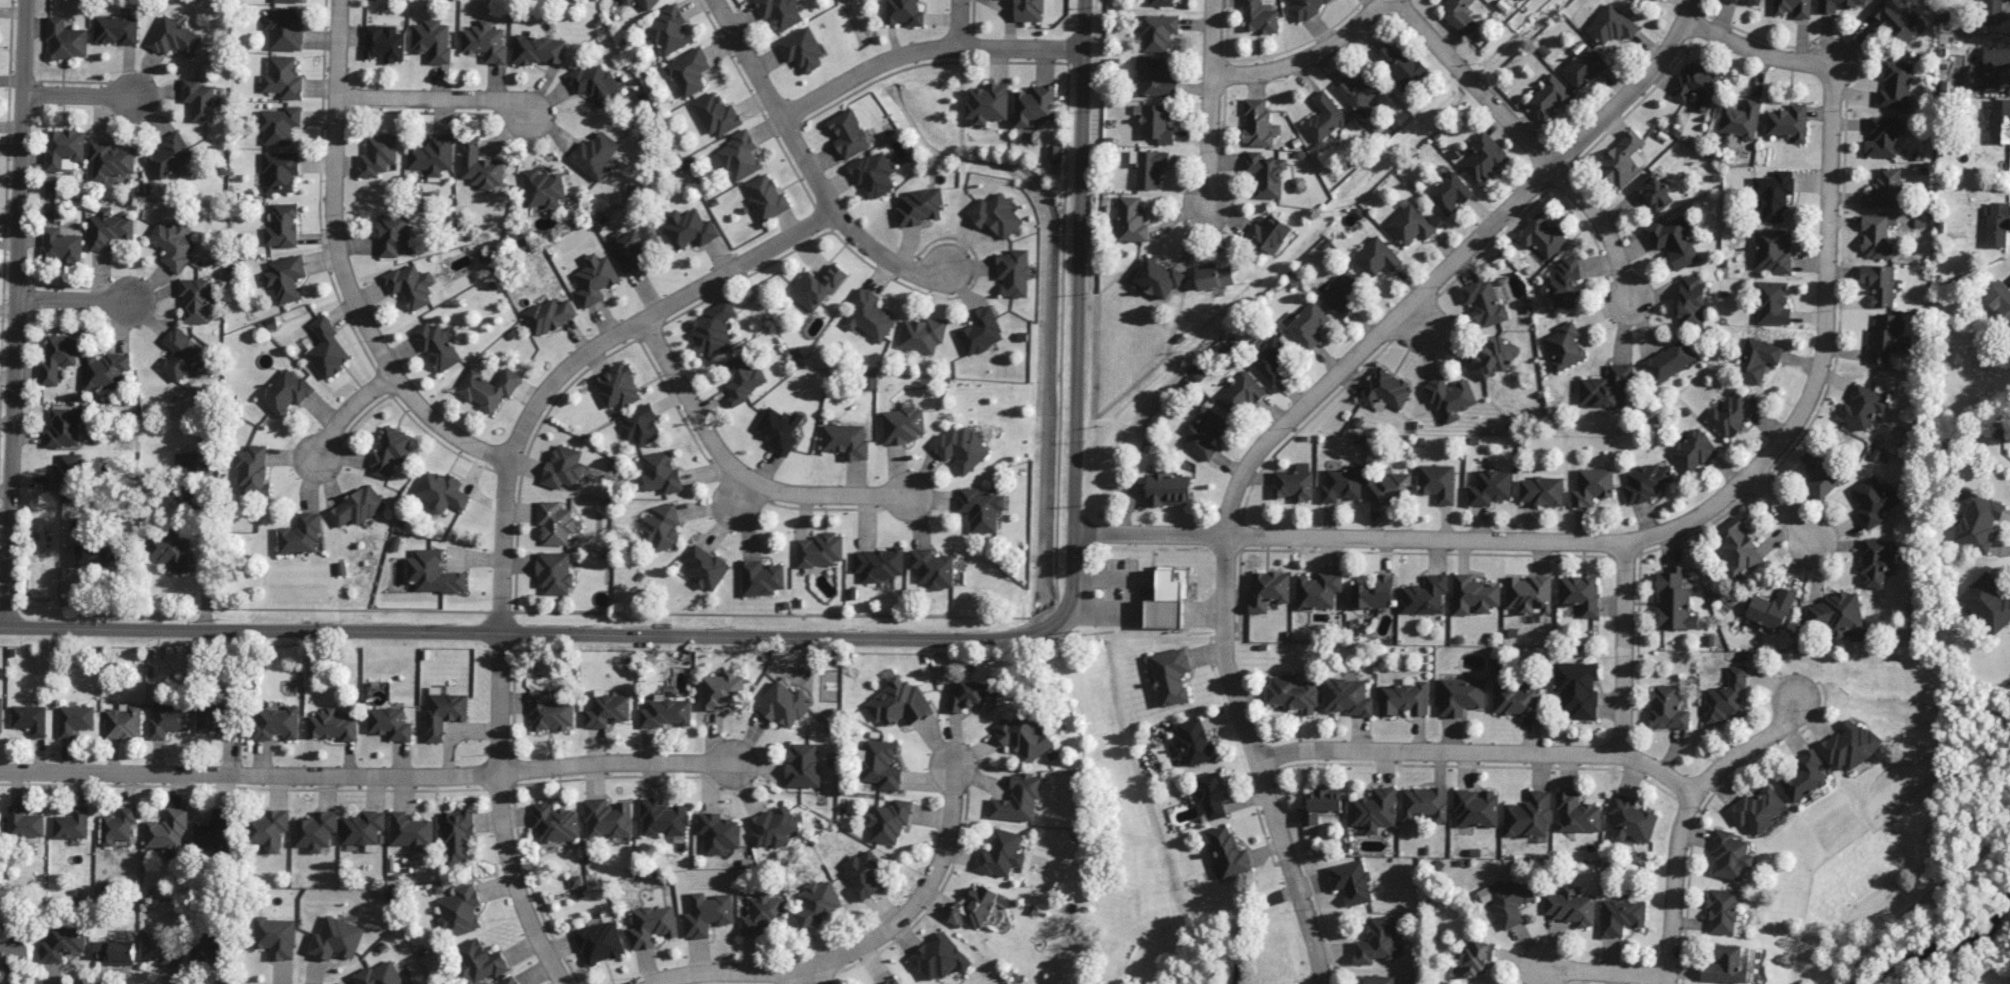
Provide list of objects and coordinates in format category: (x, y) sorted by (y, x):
building: (1655, 0)
building: (286, 1)
building: (628, 1)
building: (1743, 1)
building: (1160, 2)
building: (647, 4)
building: (1837, 4)
building: (1305, 8)
building: (1793, 8)
building: (1029, 10)
building: (780, 12)
building: (905, 12)
building: (1993, 12)
building: (1459, 16)
building: (1259, 17)
building: (1896, 20)
road: (959, 23)
building: (1611, 25)
building: (284, 28)
building: (116, 29)
building: (669, 30)
building: (1158, 32)
building: (174, 38)
building: (66, 40)
building: (432, 40)
building: (485, 41)
building: (384, 43)
building: (538, 49)
building: (803, 49)
road: (924, 49)
road: (1755, 50)
road: (1306, 57)
building: (1400, 63)
building: (1992, 66)
building: (1583, 67)
building: (689, 71)
building: (282, 77)
building: (1157, 79)
building: (596, 84)
building: (1697, 85)
building: (1895, 85)
building: (1359, 91)
road: (92, 95)
road: (446, 98)
building: (199, 99)
building: (1549, 99)
road: (1211, 102)
building: (1035, 104)
road: (774, 105)
building: (716, 114)
building: (1325, 117)
building: (1740, 119)
building: (1999, 120)
building: (1156, 122)
building: (1788, 122)
building: (1257, 123)
building: (279, 124)
building: (849, 134)
building: (1883, 136)
road: (1529, 141)
building: (64, 148)
building: (1054, 152)
building: (378, 154)
building: (595, 154)
building: (171, 155)
building: (433, 156)
building: (737, 156)
building: (1484, 157)
building: (112, 160)
building: (1623, 160)
building: (480, 165)
building: (1151, 167)
building: (280, 172)
building: (874, 173)
building: (1266, 174)
building: (543, 188)
building: (1884, 189)
building: (1450, 193)
building: (1653, 193)
building: (1773, 194)
building: (765, 196)
building: (921, 207)
building: (995, 215)
building: (1132, 220)
building: (1410, 224)
building: (1996, 225)
building: (283, 226)
building: (689, 229)
building: (111, 230)
building: (394, 234)
building: (1269, 234)
building: (1542, 236)
building: (1876, 237)
building: (1674, 241)
building: (173, 244)
building: (61, 245)
building: (635, 245)
building: (1774, 250)
building: (1377, 257)
road: (893, 262)
road: (737, 265)
road: (340, 266)
building: (1014, 272)
building: (1214, 276)
building: (286, 278)
building: (1158, 278)
building: (595, 279)
building: (1879, 283)
building: (1566, 284)
building: (816, 287)
building: (1342, 292)
building: (2000, 298)
road: (85, 300)
building: (195, 300)
building: (1692, 300)
building: (1484, 301)
road: (1078, 303)
building: (1772, 303)
road: (16, 313)
building: (549, 315)
building: (868, 316)
road: (1419, 322)
building: (1307, 324)
building: (713, 330)
building: (981, 331)
building: (922, 334)
building: (1887, 338)
building: (437, 346)
building: (1565, 346)
building: (327, 348)
road: (1819, 352)
building: (179, 354)
building: (57, 357)
building: (1270, 357)
building: (1494, 357)
building: (1757, 359)
building: (1669, 361)
building: (106, 370)
road: (558, 373)
building: (742, 377)
building: (617, 386)
building: (488, 388)
building: (1607, 388)
building: (1385, 390)
building: (285, 391)
building: (1241, 393)
building: (1450, 398)
building: (1863, 407)
building: (1734, 414)
road: (341, 419)
building: (641, 425)
building: (902, 425)
road: (1284, 426)
building: (64, 428)
building: (779, 429)
building: (1204, 431)
building: (846, 440)
building: (961, 448)
building: (390, 451)
building: (1693, 451)
building: (69, 464)
building: (563, 468)
building: (252, 470)
building: (660, 473)
building: (1819, 473)
road: (745, 475)
building: (183, 481)
building: (1438, 482)
building: (1646, 482)
building: (1295, 483)
building: (1342, 484)
building: (1489, 485)
building: (1592, 486)
building: (1388, 488)
building: (1169, 490)
building: (1542, 490)
building: (441, 492)
road: (745, 497)
building: (1874, 501)
building: (357, 507)
building: (982, 509)
road: (1784, 513)
building: (1977, 521)
building: (555, 523)
building: (662, 527)
building: (301, 535)
road: (1349, 540)
building: (1738, 547)
building: (170, 549)
building: (820, 550)
building: (97, 555)
building: (1877, 562)
building: (879, 564)
building: (705, 567)
building: (933, 568)
building: (433, 572)
building: (554, 572)
building: (761, 578)
building: (1319, 589)
building: (1269, 590)
building: (1374, 592)
building: (1530, 594)
building: (1580, 594)
building: (1425, 595)
building: (1474, 595)
building: (1169, 596)
building: (1675, 601)
building: (1988, 602)
building: (1771, 609)
building: (1839, 614)
road: (540, 631)
road: (1622, 648)
building: (1171, 675)
building: (1576, 689)
building: (722, 690)
building: (1293, 693)
building: (1727, 695)
building: (972, 696)
building: (1460, 696)
building: (1348, 697)
building: (1404, 698)
building: (1516, 700)
building: (900, 703)
building: (784, 704)
building: (1667, 707)
building: (608, 711)
building: (552, 712)
building: (1, 713)
building: (444, 713)
building: (665, 713)
building: (30, 719)
building: (75, 719)
building: (169, 719)
building: (218, 719)
building: (123, 722)
building: (276, 723)
building: (390, 723)
building: (333, 725)
road: (499, 727)
building: (1024, 737)
building: (1196, 741)
road: (1749, 743)
building: (1851, 745)
road: (1473, 748)
road: (626, 761)
building: (803, 765)
building: (882, 765)
road: (249, 773)
building: (1804, 776)
building: (1214, 794)
building: (1019, 799)
building: (1424, 803)
building: (1321, 804)
building: (1476, 807)
building: (1757, 809)
building: (1375, 810)
building: (1577, 813)
building: (1529, 815)
building: (608, 818)
building: (663, 819)
building: (1630, 819)
building: (889, 821)
building: (24, 822)
building: (557, 822)
building: (71, 824)
building: (117, 826)
building: (773, 827)
building: (168, 829)
building: (269, 829)
building: (364, 829)
building: (316, 830)
building: (218, 831)
building: (412, 832)
building: (718, 832)
building: (458, 835)
building: (1001, 853)
building: (1230, 853)
building: (1730, 855)
building: (864, 873)
building: (577, 881)
building: (1352, 881)
road: (1672, 885)
road: (1926, 896)
building: (1507, 900)
building: (818, 903)
building: (1571, 906)
building: (977, 907)
building: (460, 911)
building: (1722, 911)
building: (762, 912)
building: (707, 914)
building: (1620, 917)
road: (1244, 923)
building: (652, 926)
building: (276, 937)
building: (337, 939)
road: (867, 941)
building: (1378, 941)
building: (62, 942)
building: (600, 942)
building: (14, 946)
building: (212, 949)
building: (116, 951)
building: (940, 957)
building: (1478, 958)
building: (479, 961)
building: (1725, 965)
road: (1598, 971)
building: (381, 974)
road: (804, 976)
building: (1378, 979)
building: (509, 981)
building: (894, 981)

